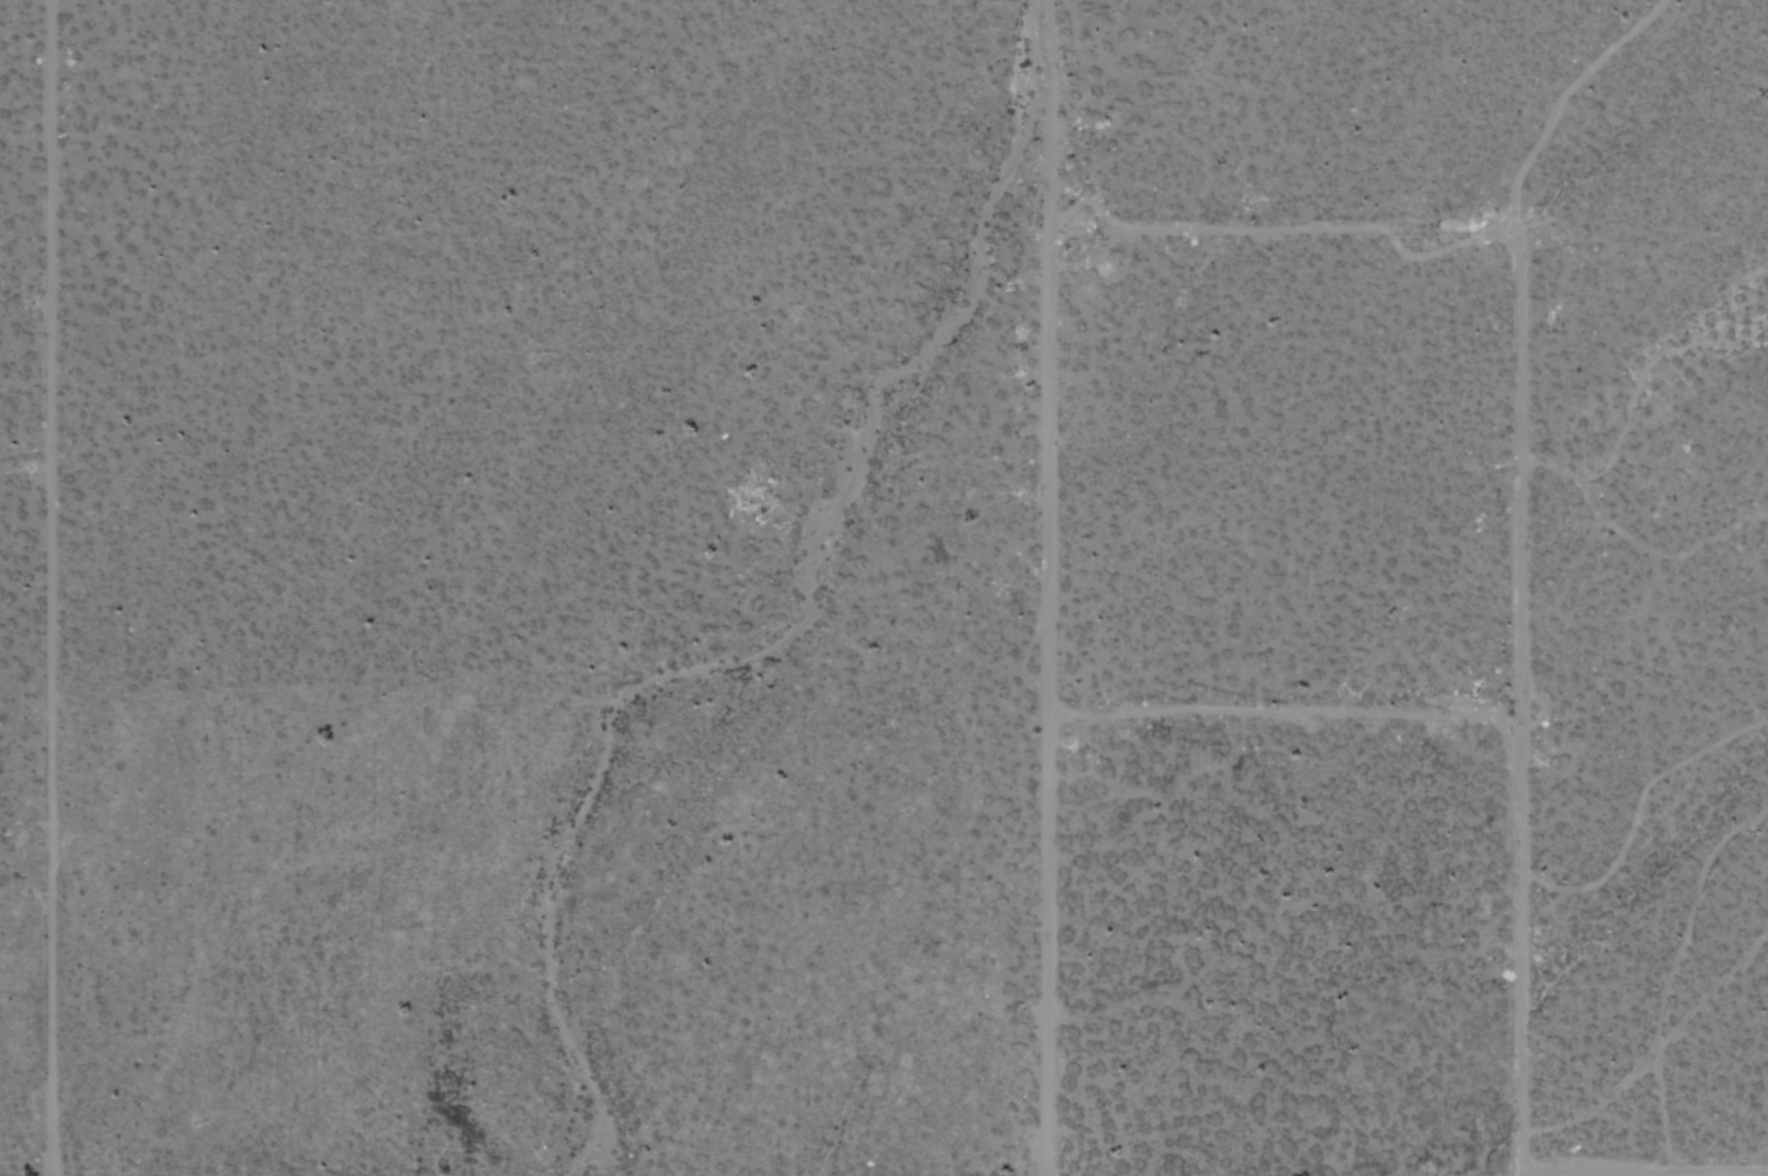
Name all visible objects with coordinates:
road: (1281, 231)
road: (1521, 470)
road: (1052, 588)
road: (1517, 945)
road: (1669, 1004)

